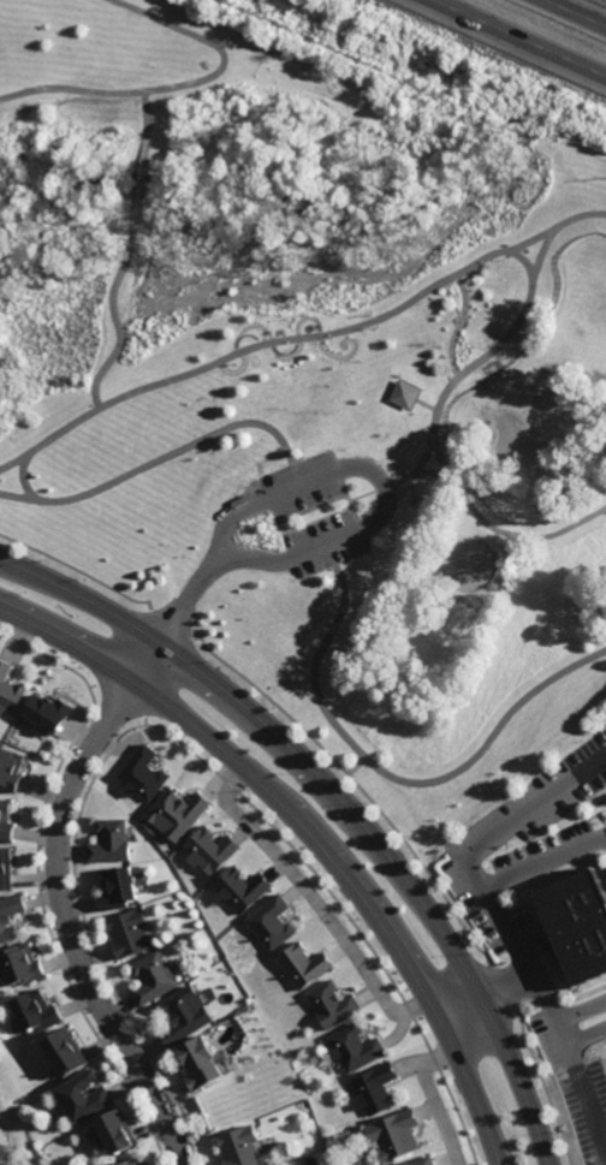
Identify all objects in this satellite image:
road: (578, 11)
road: (522, 36)
road: (176, 82)
power tower: (491, 93)
road: (147, 112)
road: (138, 180)
road: (575, 219)
road: (515, 251)
road: (115, 320)
road: (459, 325)
road: (240, 351)
road: (291, 353)
road: (485, 353)
park: (314, 374)
building: (405, 393)
road: (167, 453)
road: (439, 456)
road: (24, 481)
road: (379, 483)
road: (601, 509)
parking lot: (313, 516)
road: (501, 529)
road: (79, 570)
road: (186, 599)
road: (171, 625)
building: (10, 688)
building: (49, 708)
building: (12, 766)
building: (141, 773)
road: (387, 775)
road: (338, 804)
building: (177, 812)
building: (6, 816)
road: (311, 831)
building: (109, 840)
road: (479, 843)
building: (209, 849)
road: (543, 863)
building: (5, 867)
building: (115, 887)
building: (240, 887)
road: (314, 903)
road: (64, 905)
building: (10, 915)
building: (272, 921)
building: (577, 925)
building: (127, 932)
building: (304, 963)
building: (20, 964)
building: (153, 977)
road: (489, 998)
building: (332, 1003)
building: (35, 1011)
building: (183, 1015)
road: (559, 1024)
building: (353, 1048)
building: (64, 1052)
building: (198, 1063)
building: (372, 1089)
building: (82, 1098)
road: (432, 1099)
road: (583, 1100)
building: (114, 1133)
building: (393, 1135)
building: (240, 1147)
building: (421, 1161)
building: (132, 1163)

